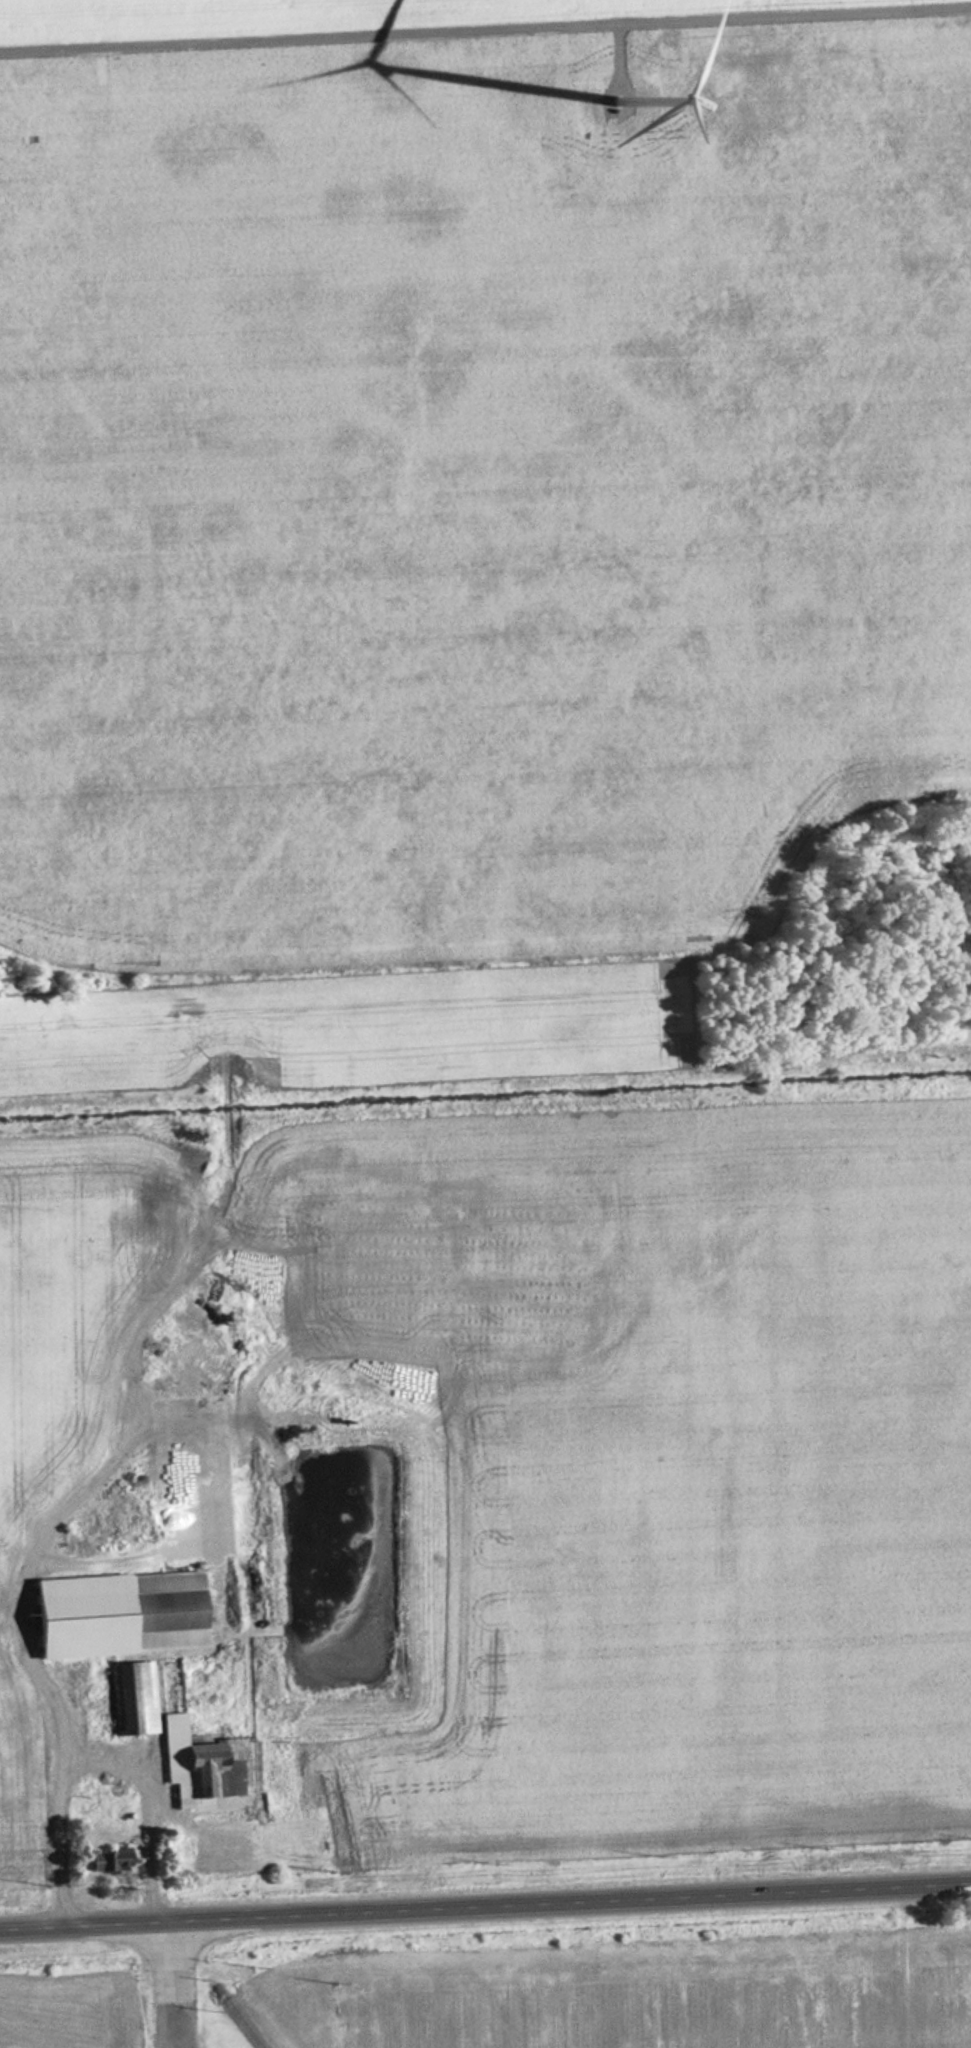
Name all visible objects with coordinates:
road: (485, 33)
wind turbine: (619, 97)
building: (74, 1530)
building: (123, 1613)
building: (134, 1697)
building: (210, 1763)
building: (96, 1789)
building: (112, 1860)
road: (485, 1908)

